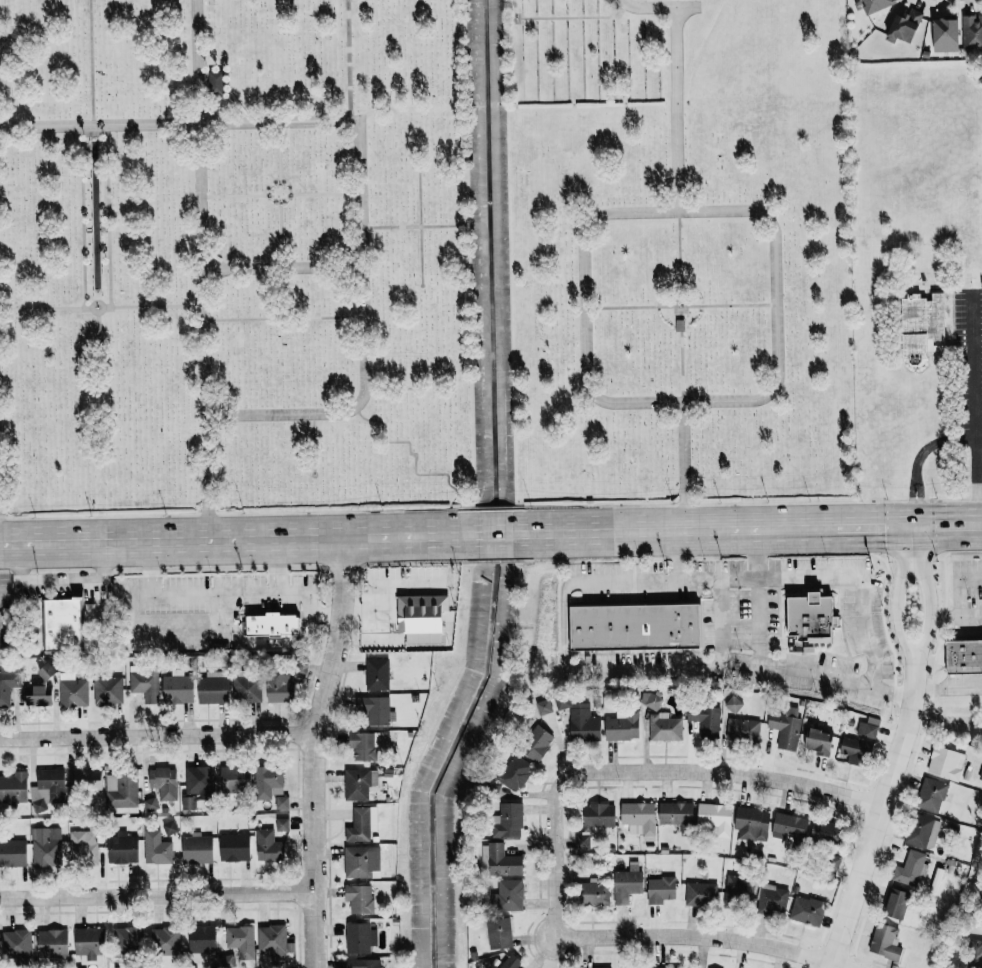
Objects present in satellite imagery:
building: (875, 5)
road: (662, 6)
building: (904, 26)
building: (972, 31)
building: (946, 33)
building: (215, 82)
road: (179, 124)
road: (201, 208)
park: (679, 248)
park: (234, 251)
road: (283, 269)
building: (921, 325)
road: (367, 339)
parking lot: (967, 364)
road: (780, 380)
road: (972, 407)
road: (917, 460)
road: (694, 465)
road: (208, 477)
road: (946, 524)
road: (979, 524)
road: (876, 526)
road: (683, 529)
road: (495, 533)
road: (230, 537)
road: (823, 576)
road: (645, 580)
road: (58, 581)
road: (959, 586)
road: (756, 595)
road: (214, 596)
road: (310, 605)
road: (948, 615)
road: (720, 619)
building: (811, 619)
building: (423, 622)
building: (62, 624)
building: (272, 625)
building: (635, 627)
road: (564, 631)
building: (964, 657)
road: (742, 662)
building: (376, 673)
building: (144, 681)
building: (8, 682)
building: (279, 685)
road: (947, 686)
building: (177, 687)
building: (213, 687)
building: (246, 688)
building: (107, 689)
building: (72, 690)
building: (37, 694)
building: (651, 699)
building: (733, 703)
building: (543, 706)
building: (374, 708)
building: (580, 719)
building: (705, 719)
building: (622, 725)
building: (664, 726)
building: (785, 727)
building: (867, 727)
building: (742, 729)
road: (158, 740)
building: (819, 741)
building: (536, 742)
building: (363, 745)
road: (315, 749)
building: (853, 749)
road: (896, 750)
building: (945, 762)
building: (511, 773)
road: (746, 773)
building: (234, 777)
building: (87, 779)
building: (267, 781)
building: (163, 782)
building: (196, 783)
building: (358, 783)
building: (13, 787)
building: (46, 787)
building: (121, 792)
building: (930, 794)
building: (281, 801)
building: (149, 803)
building: (675, 812)
building: (715, 817)
building: (639, 818)
building: (507, 820)
building: (596, 822)
building: (361, 823)
building: (281, 824)
building: (751, 824)
building: (789, 825)
building: (826, 830)
building: (922, 831)
building: (45, 846)
building: (82, 846)
building: (267, 846)
road: (552, 846)
building: (155, 847)
building: (234, 847)
building: (122, 848)
building: (196, 849)
building: (12, 852)
building: (500, 860)
building: (361, 861)
building: (444, 867)
building: (909, 868)
building: (627, 881)
building: (738, 888)
building: (660, 889)
building: (592, 893)
building: (700, 893)
building: (507, 895)
building: (771, 896)
road: (156, 897)
building: (359, 898)
building: (896, 903)
building: (806, 910)
building: (499, 932)
road: (723, 936)
building: (359, 937)
building: (165, 938)
building: (201, 938)
building: (127, 939)
building: (240, 940)
building: (273, 941)
building: (884, 941)
building: (16, 942)
building: (51, 942)
building: (89, 944)
building: (975, 951)
building: (510, 961)
building: (363, 963)
building: (608, 967)
building: (639, 967)
building: (667, 967)

